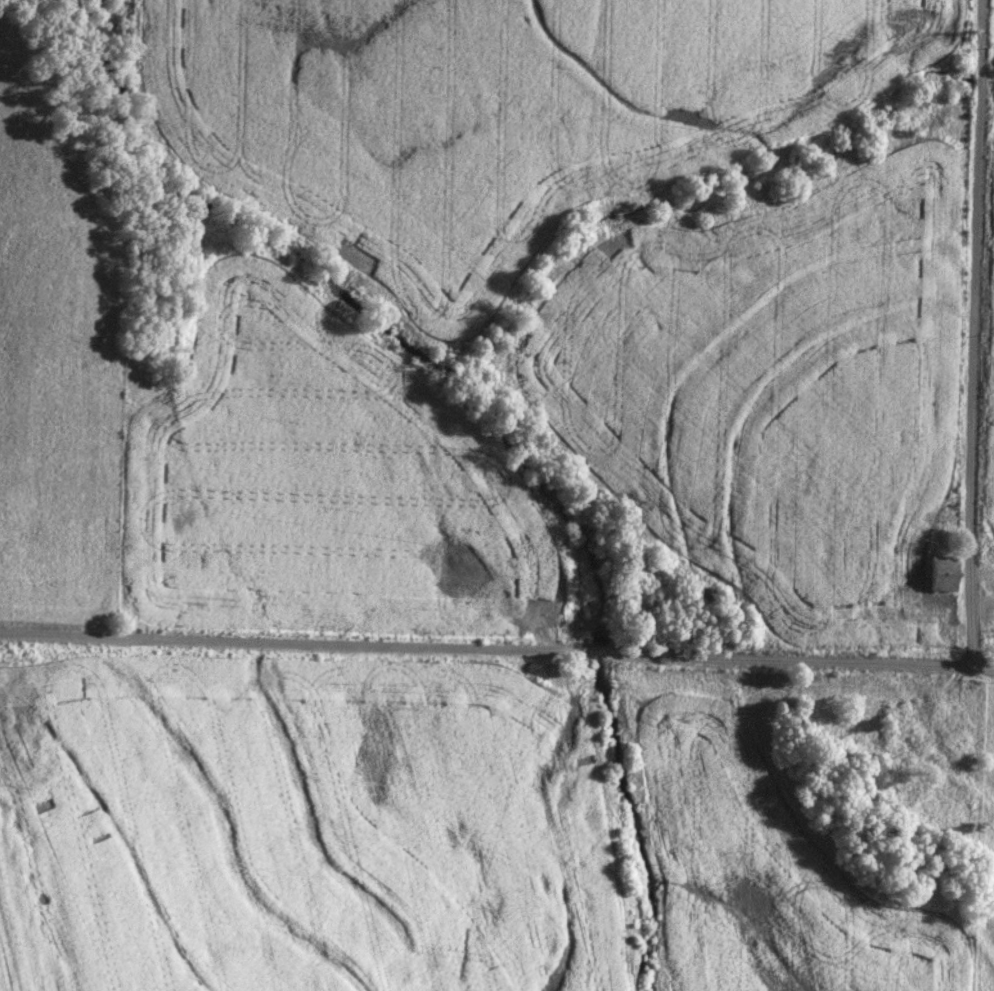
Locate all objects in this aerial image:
road: (973, 336)
building: (941, 575)
road: (497, 654)

